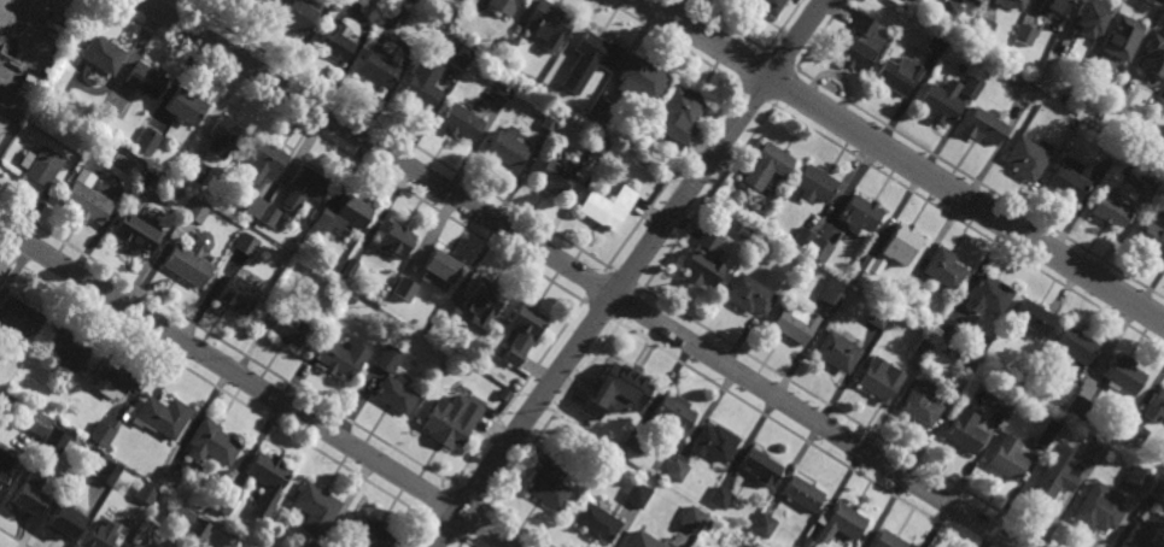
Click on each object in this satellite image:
building: (270, 0)
building: (914, 0)
building: (247, 1)
building: (262, 1)
building: (976, 1)
building: (362, 2)
building: (425, 2)
building: (503, 2)
building: (1008, 4)
building: (337, 5)
road: (1152, 5)
road: (5, 6)
building: (767, 6)
building: (1048, 7)
building: (948, 10)
building: (297, 13)
building: (396, 17)
building: (1086, 17)
building: (549, 24)
road: (723, 25)
road: (783, 25)
building: (982, 27)
parking lot: (25, 34)
road: (820, 34)
building: (1023, 34)
building: (1121, 36)
building: (334, 40)
road: (672, 41)
building: (856, 43)
building: (934, 45)
building: (507, 47)
building: (595, 49)
building: (101, 55)
building: (457, 58)
road: (780, 59)
building: (1152, 59)
building: (379, 66)
road: (750, 66)
building: (1087, 71)
building: (897, 75)
building: (145, 76)
building: (639, 78)
building: (496, 81)
building: (421, 84)
building: (970, 86)
road: (784, 87)
building: (507, 88)
building: (1064, 90)
building: (1025, 92)
road: (754, 94)
building: (1119, 99)
building: (940, 101)
building: (186, 104)
building: (1158, 105)
building: (599, 111)
building: (678, 116)
building: (461, 119)
building: (549, 120)
building: (982, 124)
building: (224, 134)
road: (398, 136)
building: (147, 141)
building: (598, 143)
building: (507, 146)
road: (351, 155)
building: (1025, 155)
building: (263, 159)
road: (905, 161)
building: (41, 165)
building: (766, 165)
building: (191, 166)
building: (554, 175)
road: (669, 177)
building: (1066, 181)
building: (814, 183)
road: (981, 183)
building: (304, 186)
building: (84, 200)
road: (706, 200)
building: (253, 206)
building: (609, 207)
building: (195, 208)
building: (1110, 208)
building: (860, 212)
building: (268, 214)
building: (341, 214)
road: (969, 228)
building: (134, 231)
building: (271, 231)
building: (742, 233)
building: (803, 237)
building: (396, 239)
building: (1152, 239)
building: (900, 242)
building: (245, 243)
building: (819, 248)
building: (189, 259)
building: (702, 259)
building: (865, 264)
building: (349, 267)
building: (943, 267)
building: (439, 269)
road: (628, 272)
road: (581, 273)
road: (626, 278)
road: (593, 286)
building: (404, 288)
building: (832, 290)
building: (236, 294)
building: (749, 294)
building: (987, 294)
building: (481, 302)
building: (903, 302)
road: (630, 306)
road: (599, 312)
building: (448, 313)
building: (19, 317)
building: (877, 317)
building: (1031, 317)
building: (795, 323)
building: (289, 328)
building: (948, 329)
building: (522, 331)
road: (224, 343)
building: (66, 345)
building: (1075, 345)
building: (837, 351)
building: (920, 351)
building: (335, 355)
building: (387, 357)
building: (971, 369)
building: (1122, 374)
building: (111, 377)
building: (881, 381)
building: (1028, 384)
road: (216, 386)
road: (255, 387)
building: (612, 389)
building: (394, 392)
road: (515, 394)
building: (5, 400)
building: (920, 402)
building: (1078, 406)
building: (1156, 406)
building: (1000, 411)
building: (673, 412)
building: (162, 416)
road: (848, 416)
road: (554, 417)
building: (451, 420)
building: (37, 422)
building: (965, 430)
building: (1041, 431)
building: (101, 434)
road: (792, 434)
building: (1134, 434)
building: (634, 441)
building: (211, 442)
building: (713, 442)
building: (1093, 452)
building: (1006, 458)
building: (4, 465)
building: (760, 466)
building: (1162, 469)
building: (111, 470)
building: (675, 470)
building: (168, 477)
building: (1137, 477)
building: (1052, 480)
building: (267, 481)
building: (548, 482)
building: (1157, 490)
building: (146, 493)
building: (636, 494)
building: (801, 494)
road: (470, 496)
building: (719, 498)
building: (28, 499)
building: (223, 501)
road: (437, 501)
building: (1099, 507)
building: (315, 508)
building: (180, 518)
building: (692, 519)
building: (63, 520)
building: (595, 523)
road: (476, 524)
building: (708, 524)
building: (762, 524)
building: (840, 524)
road: (520, 528)
road: (419, 530)
road: (443, 530)
building: (369, 533)
building: (1146, 533)
building: (100, 534)
road: (12, 539)
building: (220, 539)
building: (642, 540)
building: (887, 540)
road: (466, 541)
road: (8, 542)
road: (462, 542)
building: (806, 542)
building: (311, 545)
building: (356, 545)

